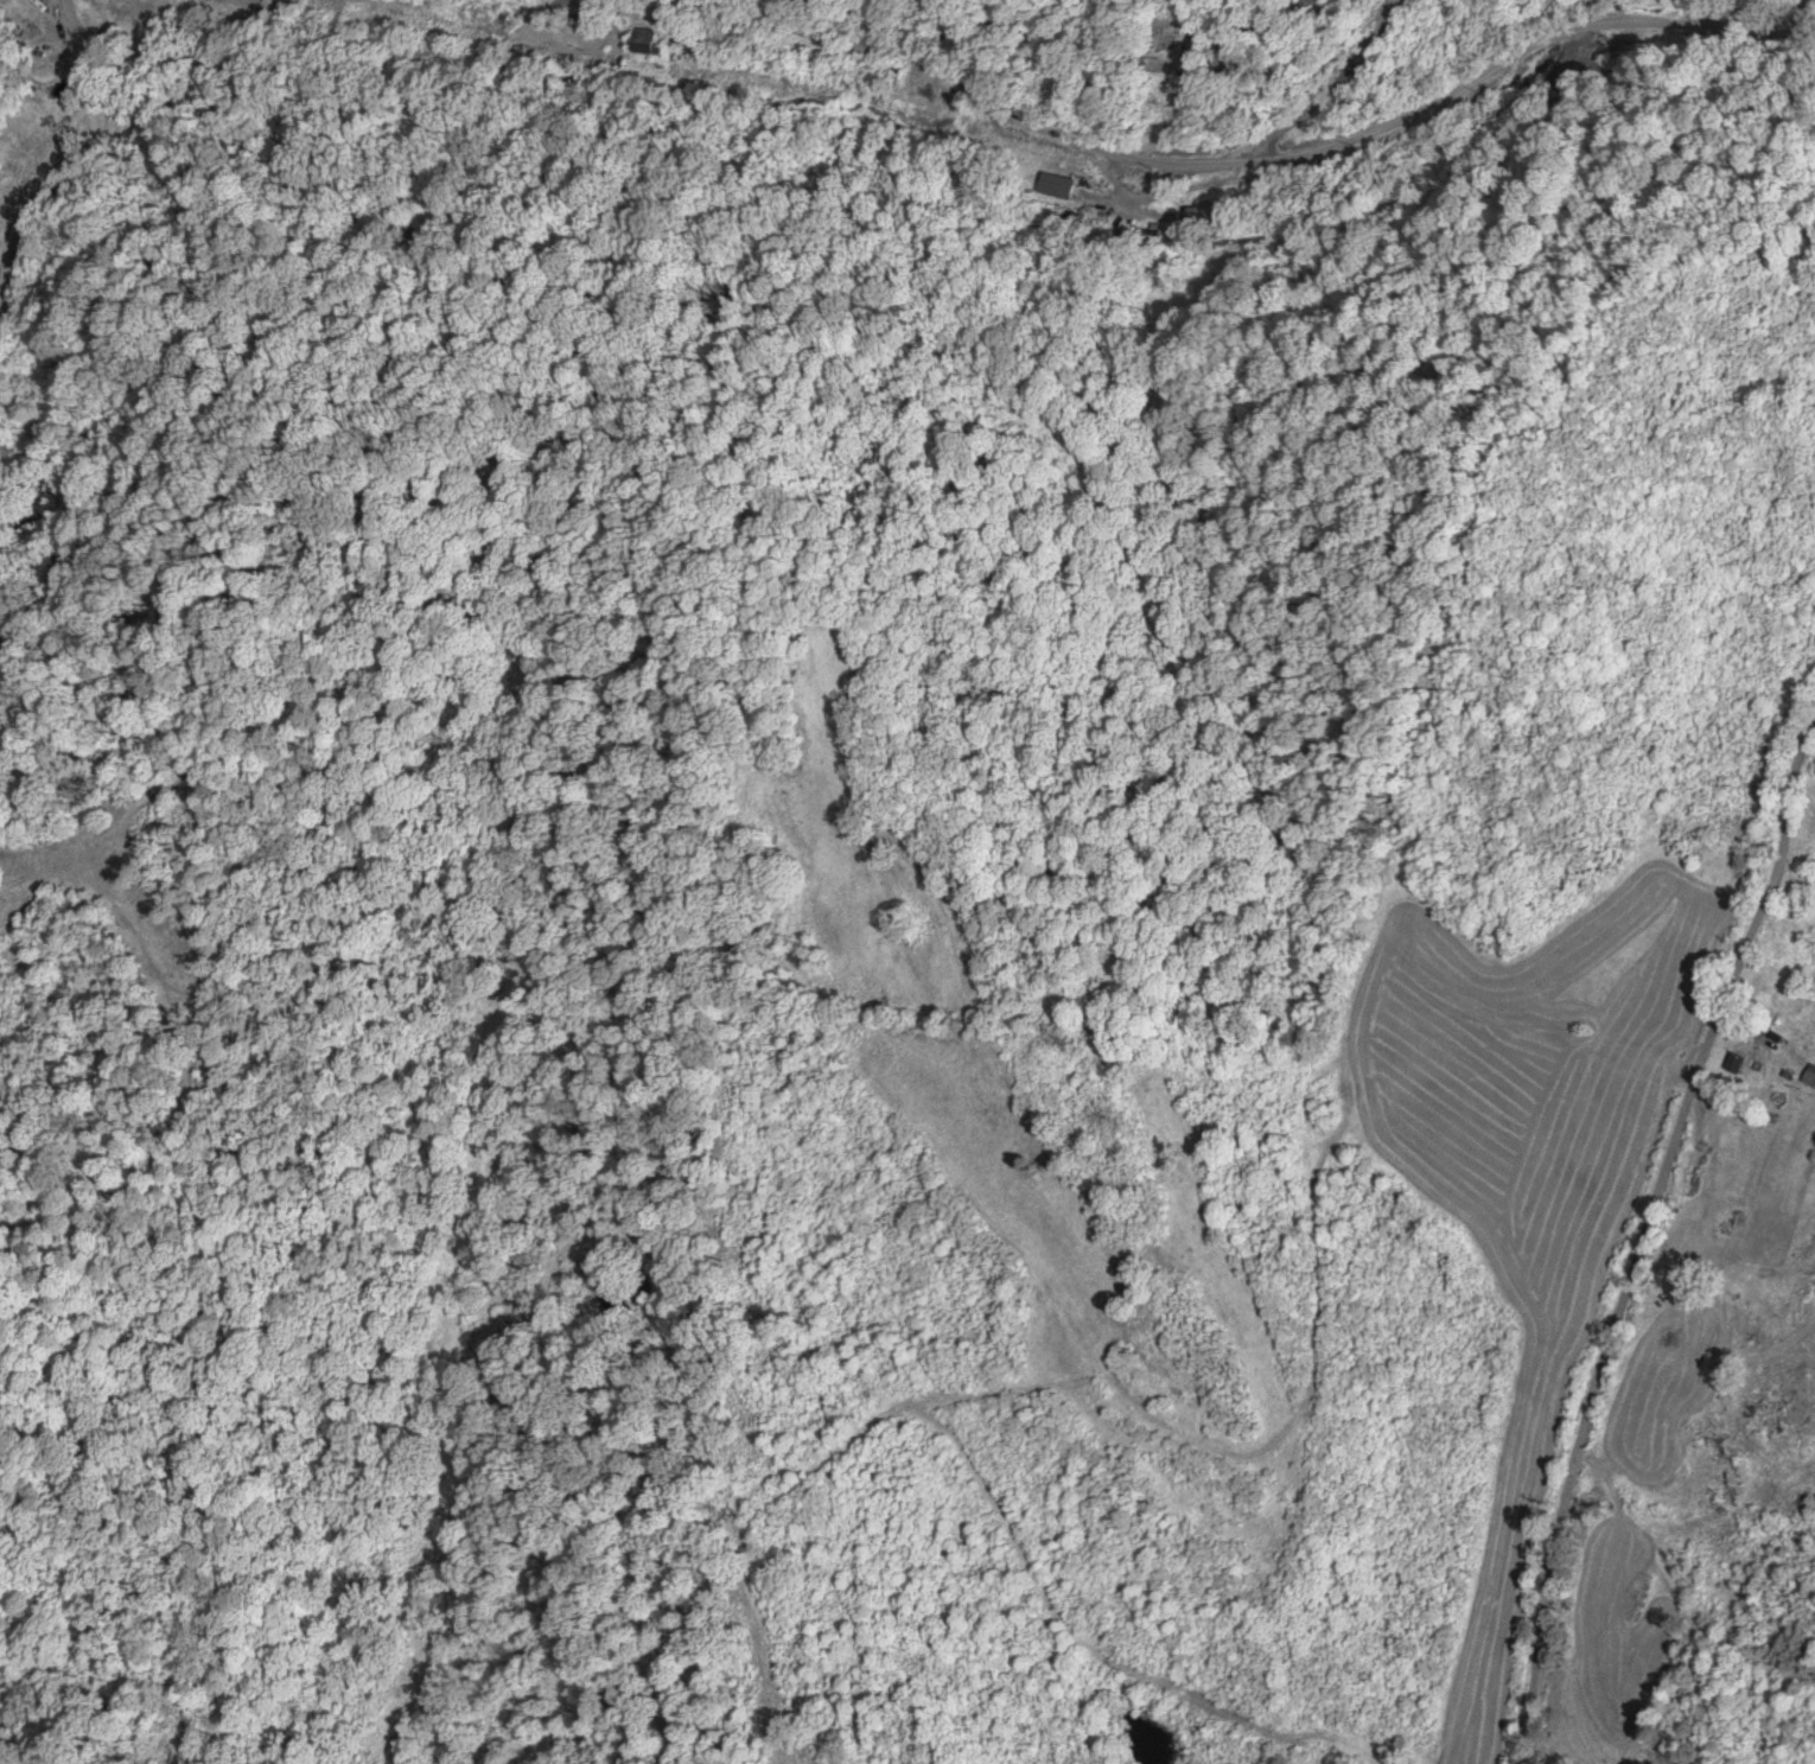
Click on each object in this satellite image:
building: (575, 7)
road: (1306, 31)
building: (1055, 185)
building: (1203, 215)
building: (1751, 1051)
road: (1619, 1297)
building: (1667, 1342)
building: (1756, 1424)

